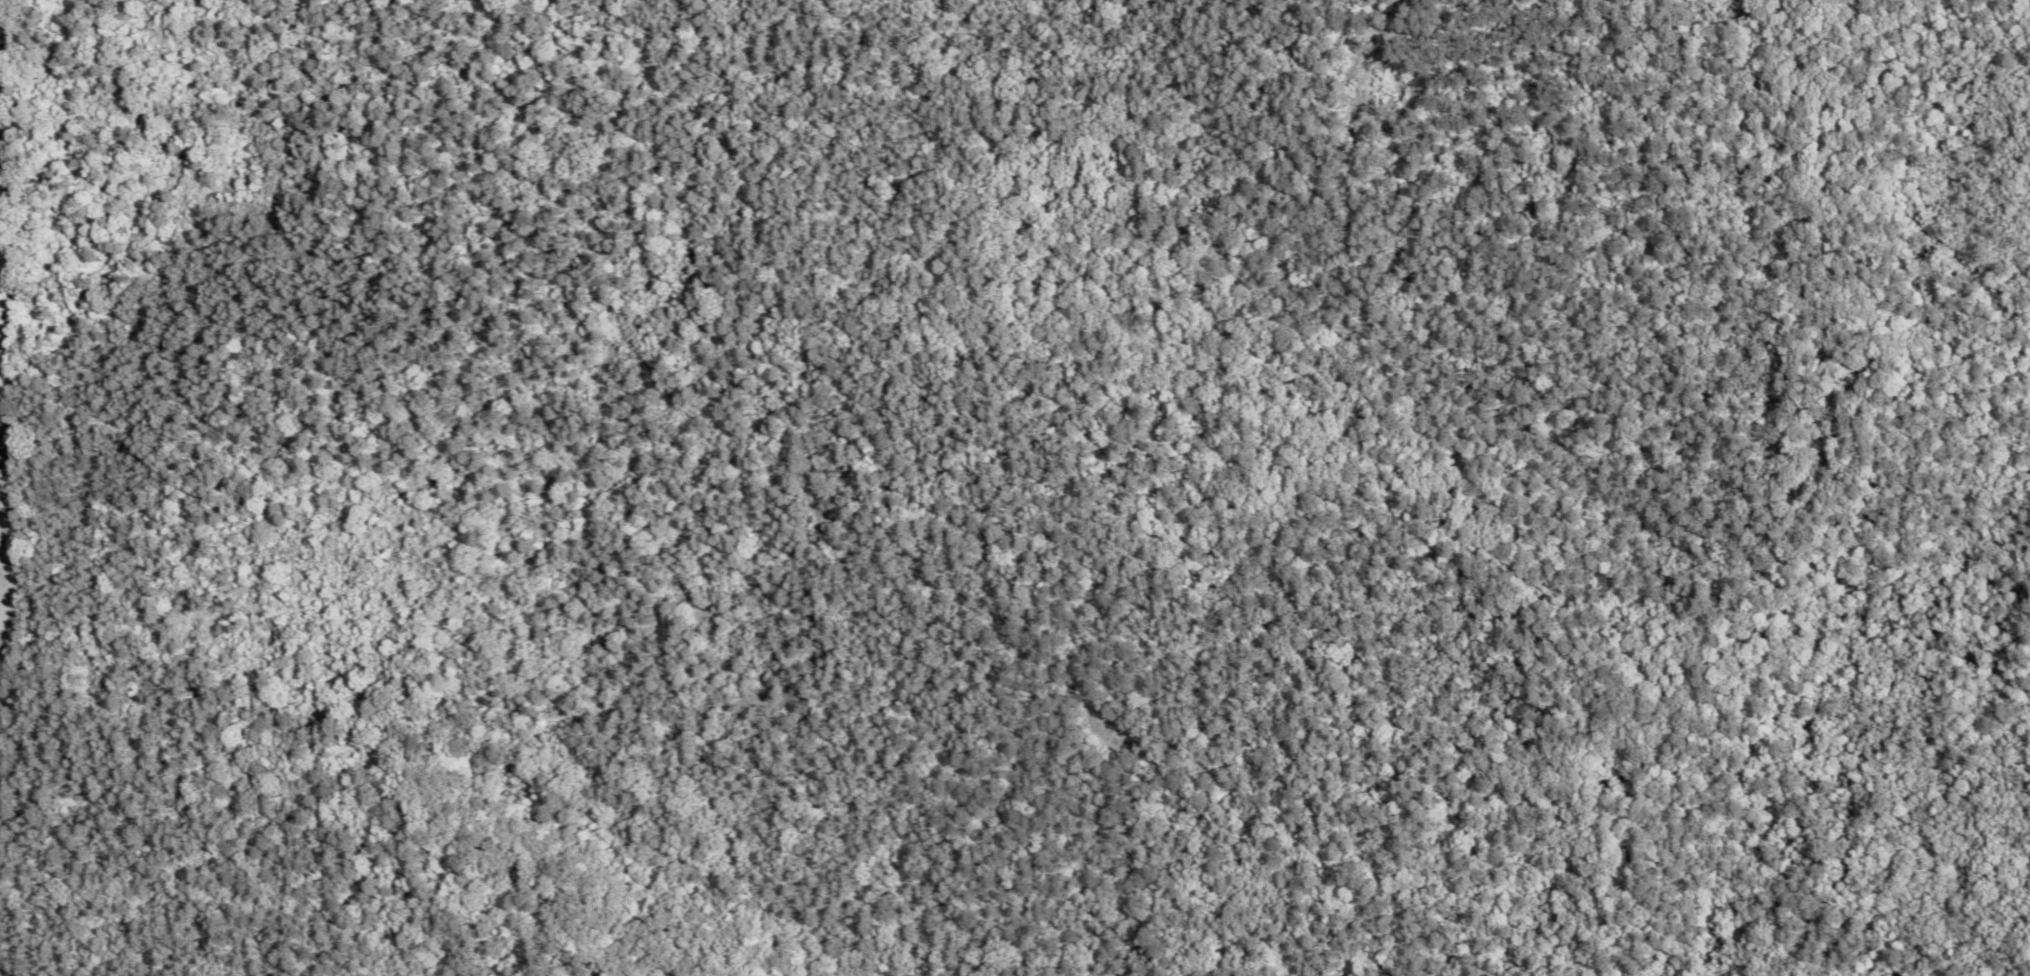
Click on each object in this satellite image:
road: (9, 597)

